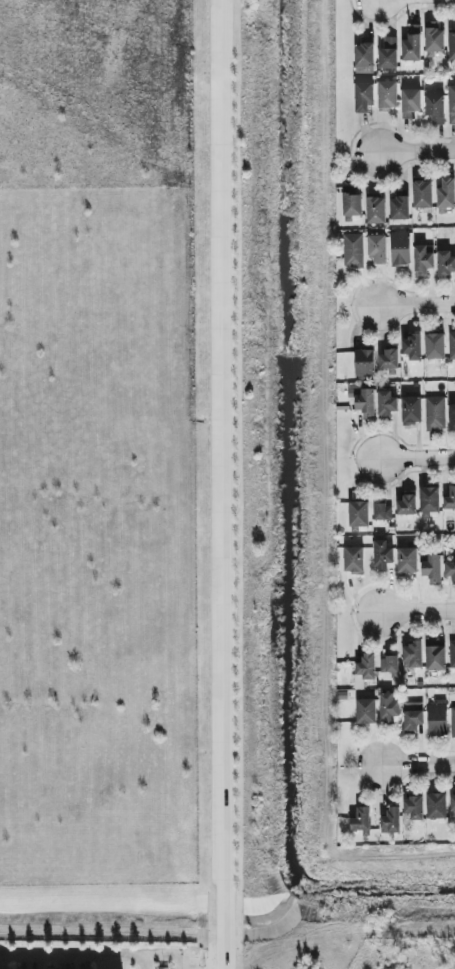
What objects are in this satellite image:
building: (433, 38)
building: (411, 43)
building: (363, 53)
building: (387, 53)
building: (386, 94)
building: (362, 96)
building: (409, 102)
building: (451, 104)
building: (434, 107)
road: (417, 150)
building: (421, 193)
building: (445, 193)
building: (351, 204)
building: (398, 207)
building: (374, 209)
building: (377, 248)
building: (399, 248)
building: (353, 249)
building: (423, 259)
building: (444, 264)
road: (417, 305)
building: (451, 345)
building: (412, 347)
building: (435, 347)
building: (388, 360)
building: (364, 362)
building: (365, 403)
building: (386, 404)
building: (411, 409)
building: (434, 412)
building: (451, 417)
road: (417, 456)
road: (223, 484)
building: (449, 498)
building: (428, 500)
building: (405, 505)
building: (381, 511)
building: (357, 513)
building: (381, 554)
building: (353, 559)
building: (406, 559)
building: (431, 568)
building: (449, 570)
road: (417, 610)
building: (451, 652)
building: (411, 654)
building: (434, 654)
building: (388, 663)
building: (365, 665)
building: (388, 706)
building: (364, 710)
building: (411, 716)
building: (435, 718)
building: (452, 721)
road: (417, 764)
building: (452, 801)
building: (435, 805)
building: (412, 807)
building: (359, 819)
building: (389, 820)
road: (208, 955)
road: (92, 962)

